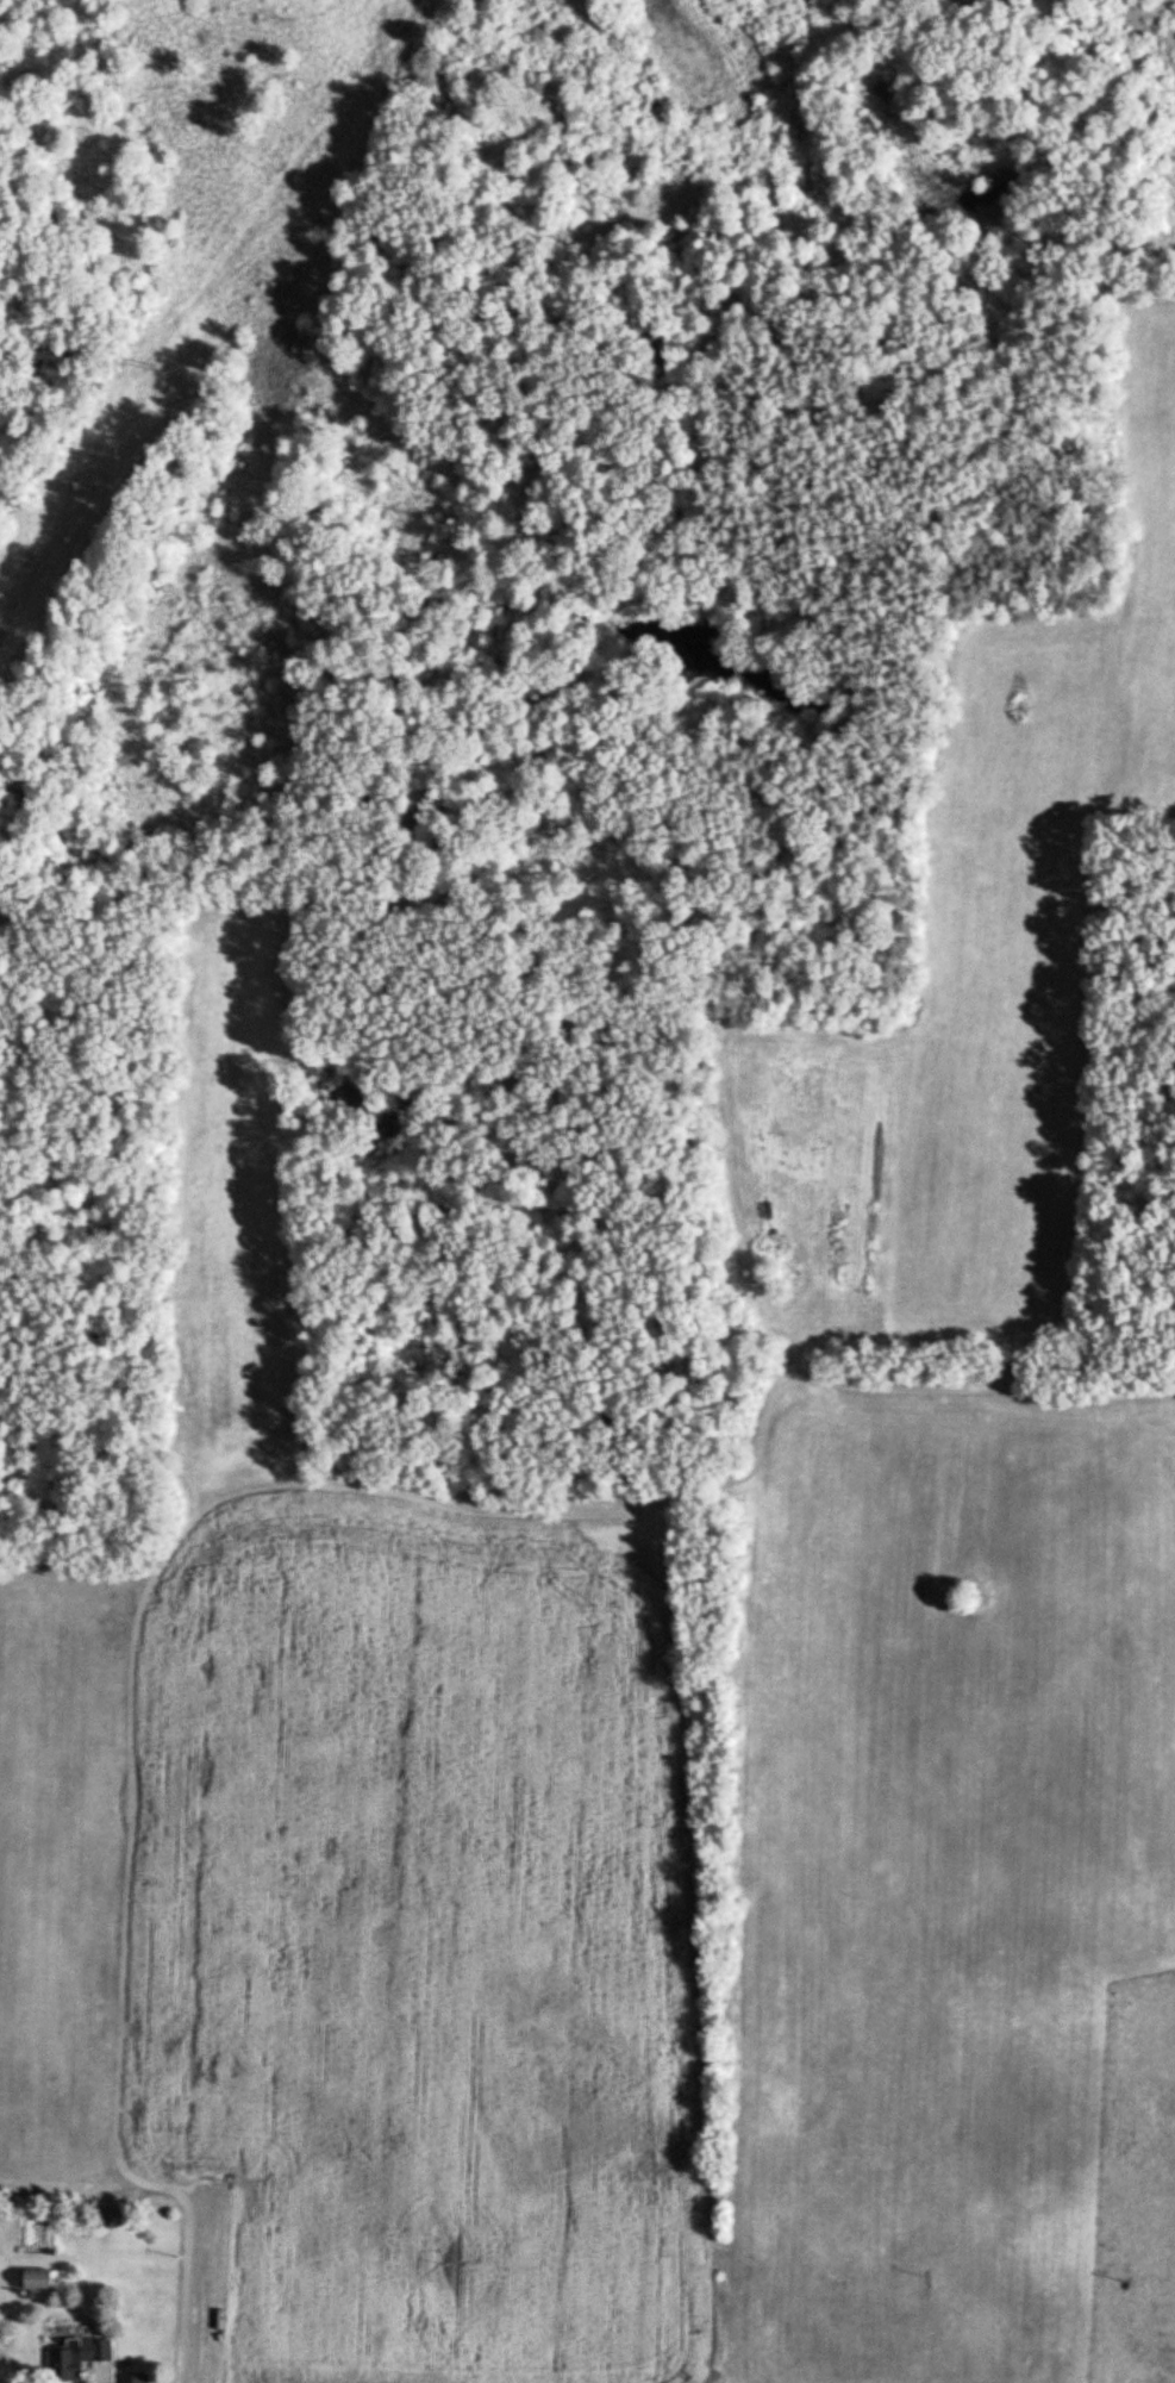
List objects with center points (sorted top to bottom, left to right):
power tower: (164, 369)
crop: (1033, 892)
crop: (940, 1865)
crop: (57, 1876)
crop: (414, 1941)
building: (38, 2277)
building: (80, 2353)
building: (132, 2377)

